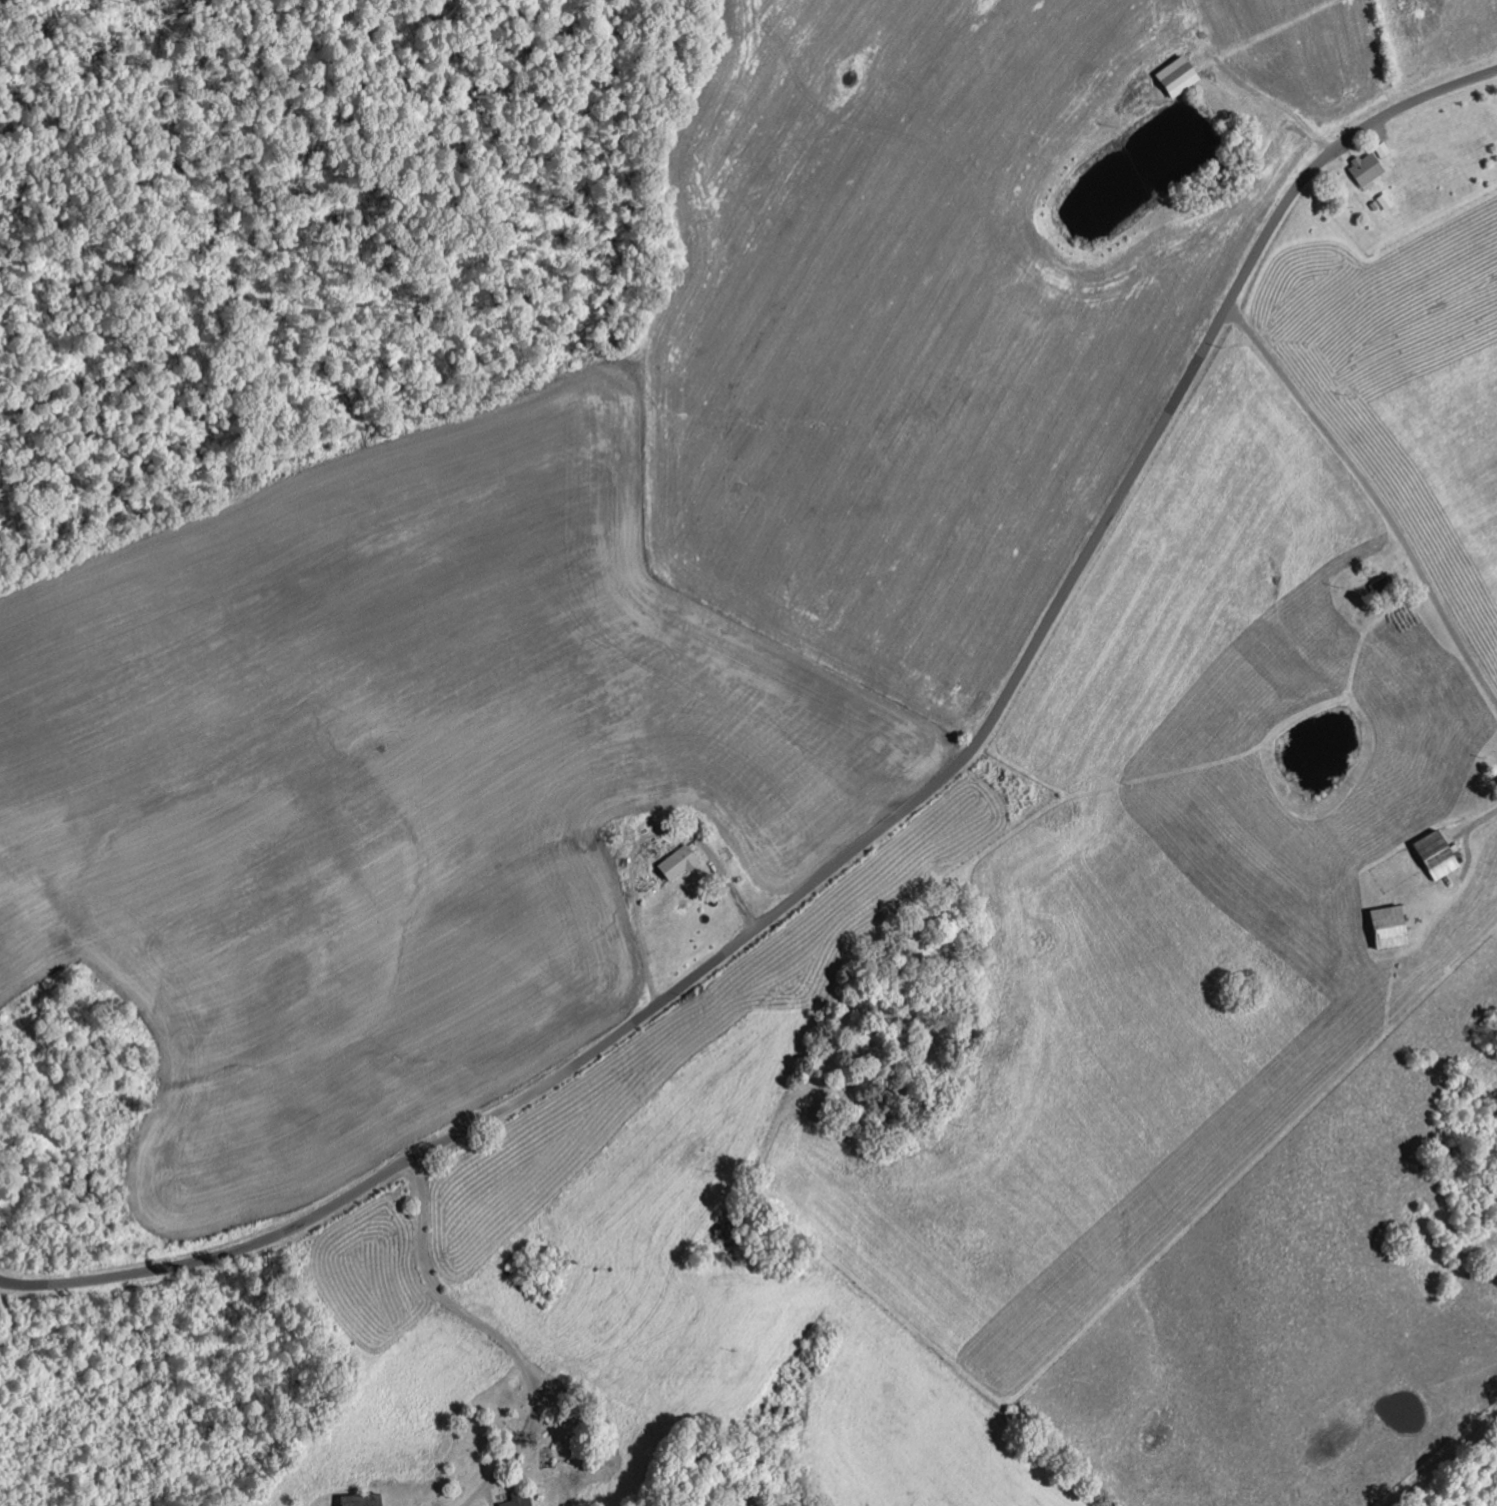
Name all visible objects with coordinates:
building: (1182, 75)
building: (1369, 168)
road: (873, 831)
building: (1441, 853)
building: (681, 861)
building: (1395, 925)
building: (367, 1499)
building: (521, 1500)

